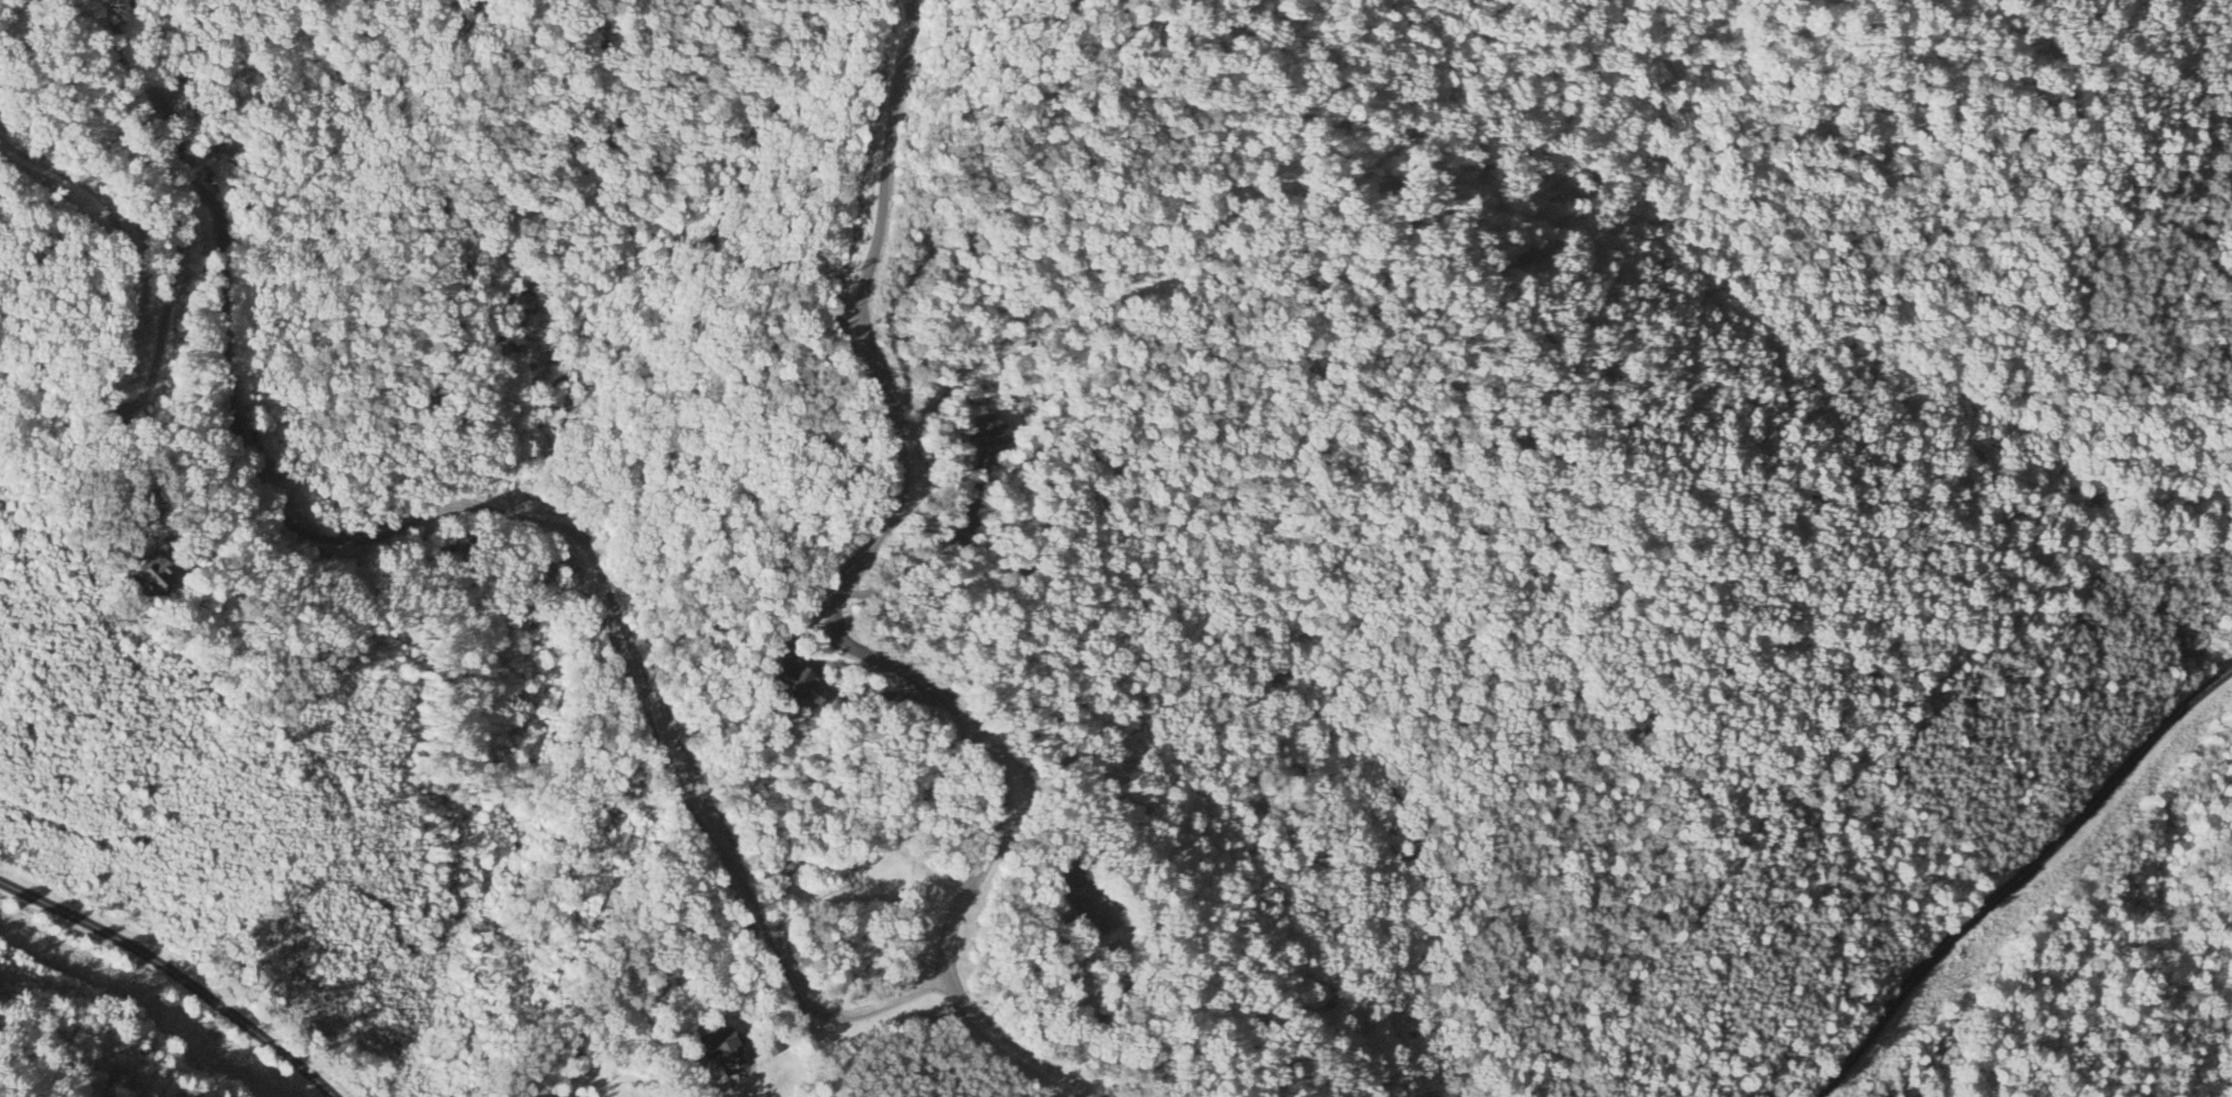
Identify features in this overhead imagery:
road: (958, 362)
road: (116, 363)
building: (995, 436)
road: (146, 475)
road: (481, 507)
building: (154, 575)
road: (827, 620)
building: (800, 687)
road: (2016, 883)
building: (1090, 909)
road: (174, 975)
building: (726, 1053)
road: (699, 1090)

